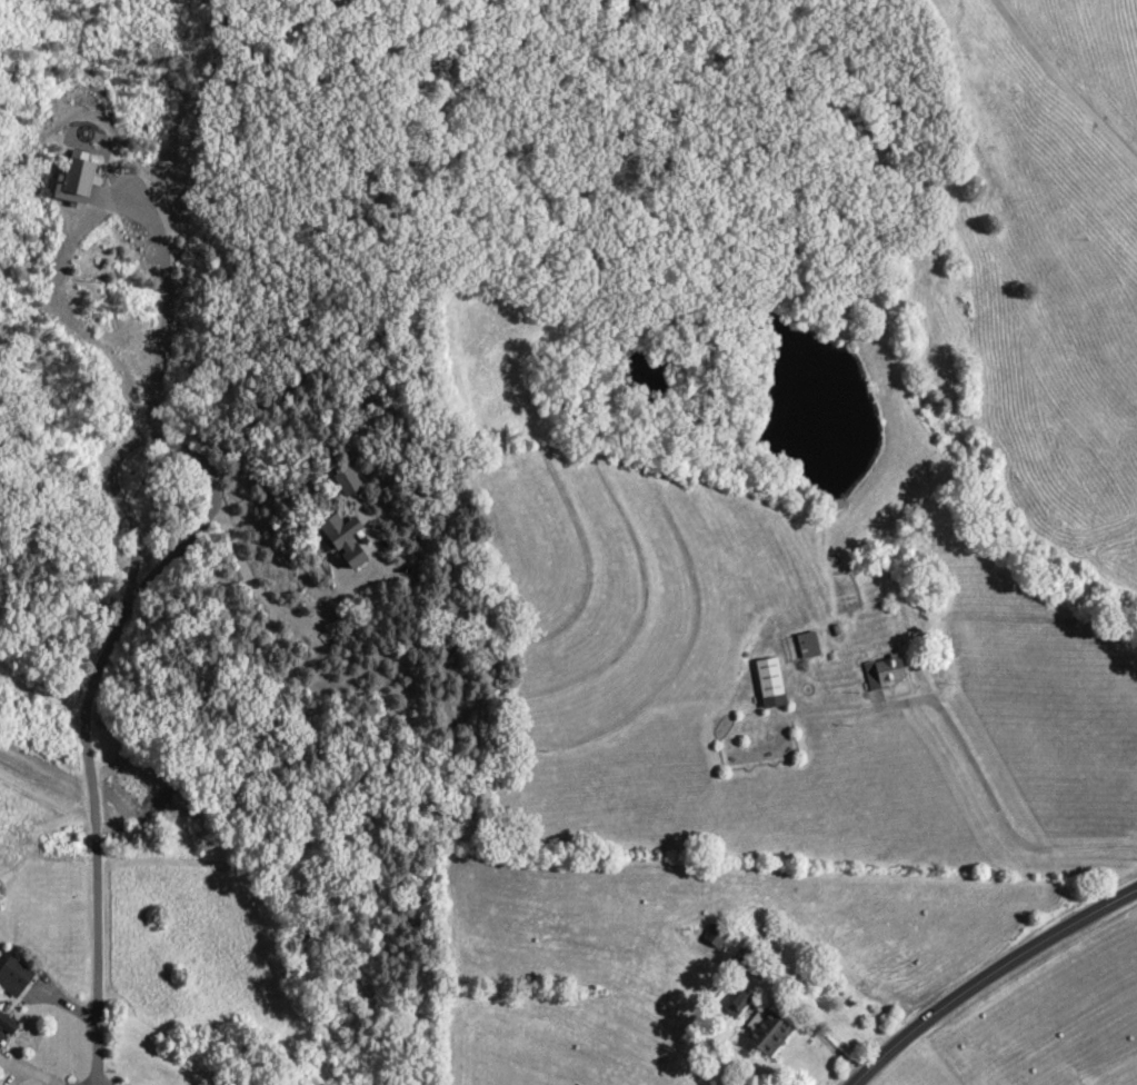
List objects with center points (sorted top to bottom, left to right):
road: (1066, 80)
road: (103, 207)
road: (132, 585)
building: (807, 647)
building: (887, 671)
building: (768, 684)
road: (1006, 815)
building: (715, 936)
building: (748, 964)
building: (12, 976)
road: (989, 977)
building: (737, 1004)
building: (4, 1027)
building: (767, 1034)

